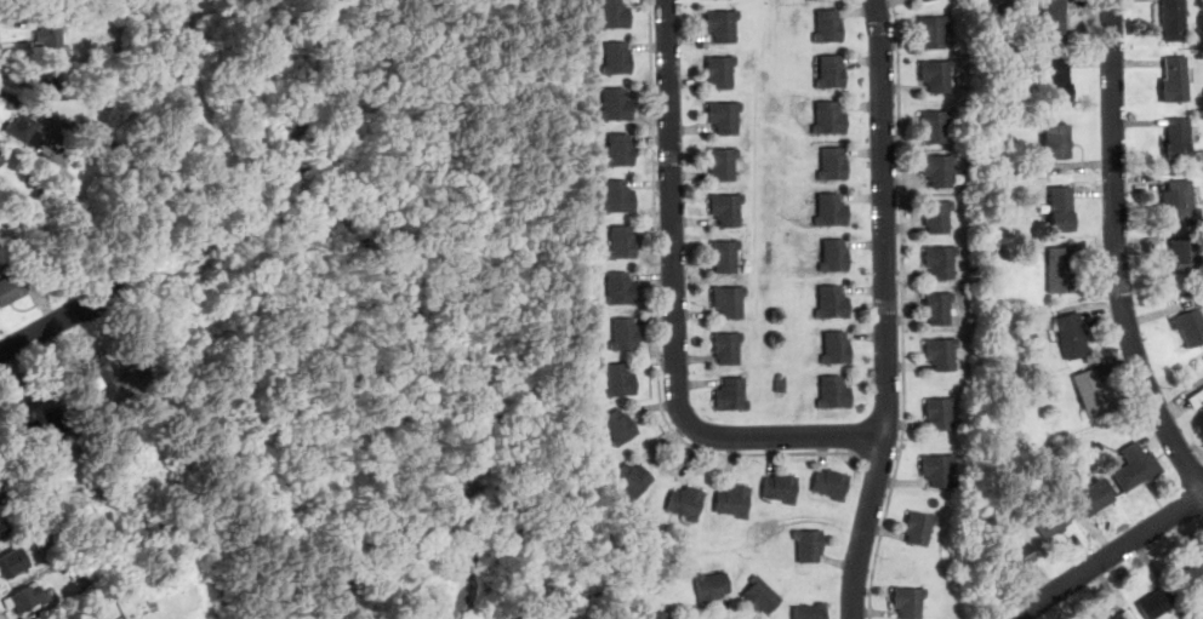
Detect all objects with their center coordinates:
building: (810, 0)
building: (928, 1)
building: (615, 15)
building: (1053, 22)
building: (1173, 22)
building: (723, 24)
building: (828, 29)
building: (934, 34)
building: (49, 36)
building: (618, 58)
building: (720, 71)
building: (832, 75)
building: (937, 78)
building: (1057, 82)
building: (1176, 84)
building: (45, 85)
building: (618, 103)
building: (725, 116)
building: (829, 121)
building: (936, 128)
building: (24, 131)
building: (1180, 143)
building: (1057, 145)
building: (620, 149)
road: (170, 150)
building: (1, 162)
building: (723, 164)
building: (833, 166)
building: (47, 170)
building: (940, 172)
building: (33, 184)
building: (621, 196)
building: (1182, 205)
building: (729, 208)
building: (1061, 210)
building: (832, 212)
building: (936, 218)
building: (622, 242)
road: (1118, 253)
building: (726, 256)
building: (834, 259)
building: (1186, 259)
building: (941, 263)
building: (1061, 271)
park: (355, 287)
building: (622, 288)
building: (12, 291)
building: (730, 300)
building: (832, 304)
building: (937, 309)
road: (902, 310)
road: (657, 314)
road: (57, 325)
building: (1191, 331)
building: (625, 334)
building: (1032, 338)
building: (1073, 338)
building: (728, 348)
building: (837, 350)
building: (942, 355)
building: (98, 369)
building: (620, 380)
building: (1051, 394)
building: (732, 395)
building: (834, 395)
building: (1199, 395)
building: (1093, 396)
building: (99, 401)
building: (1198, 403)
building: (941, 413)
building: (27, 414)
building: (50, 417)
building: (620, 428)
road: (789, 439)
road: (860, 443)
building: (1135, 466)
building: (939, 470)
building: (634, 481)
building: (833, 485)
building: (782, 489)
building: (1095, 497)
building: (736, 500)
building: (688, 503)
building: (1051, 522)
road: (867, 527)
building: (919, 527)
building: (2, 528)
building: (810, 545)
road: (1108, 556)
building: (1017, 558)
building: (11, 564)
building: (75, 575)
building: (1192, 579)
building: (713, 586)
building: (763, 597)
building: (30, 598)
building: (910, 602)
building: (1157, 604)
building: (813, 612)
building: (657, 614)
building: (69, 615)
building: (1124, 617)

